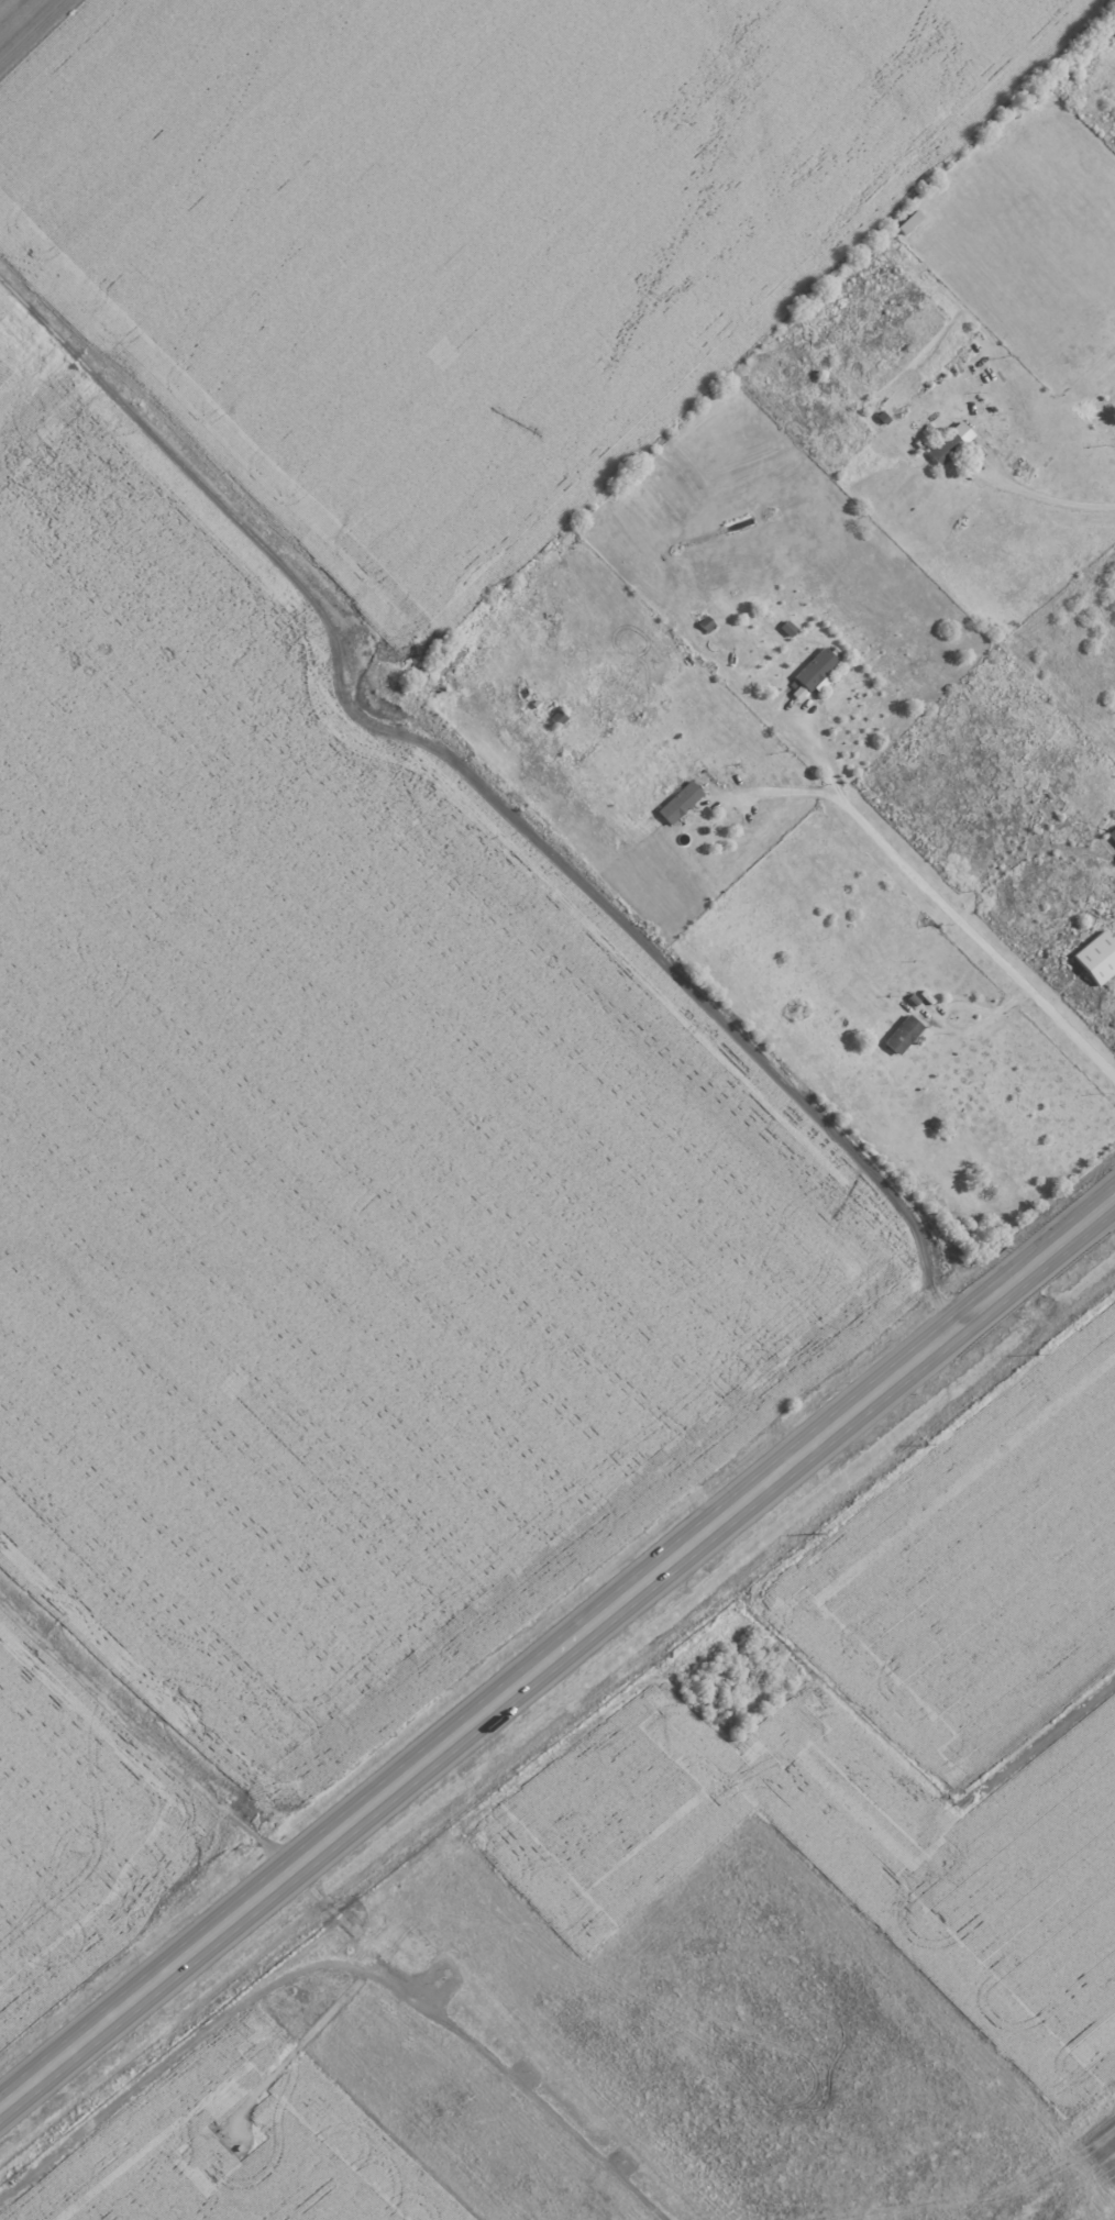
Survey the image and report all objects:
building: (909, 221)
building: (950, 443)
road: (1050, 501)
building: (706, 623)
building: (819, 669)
road: (812, 743)
road: (777, 793)
building: (680, 802)
building: (1112, 835)
road: (1017, 859)
road: (979, 945)
building: (1097, 958)
road: (949, 1030)
building: (903, 1035)
road: (559, 1646)
airport: (687, 1950)

